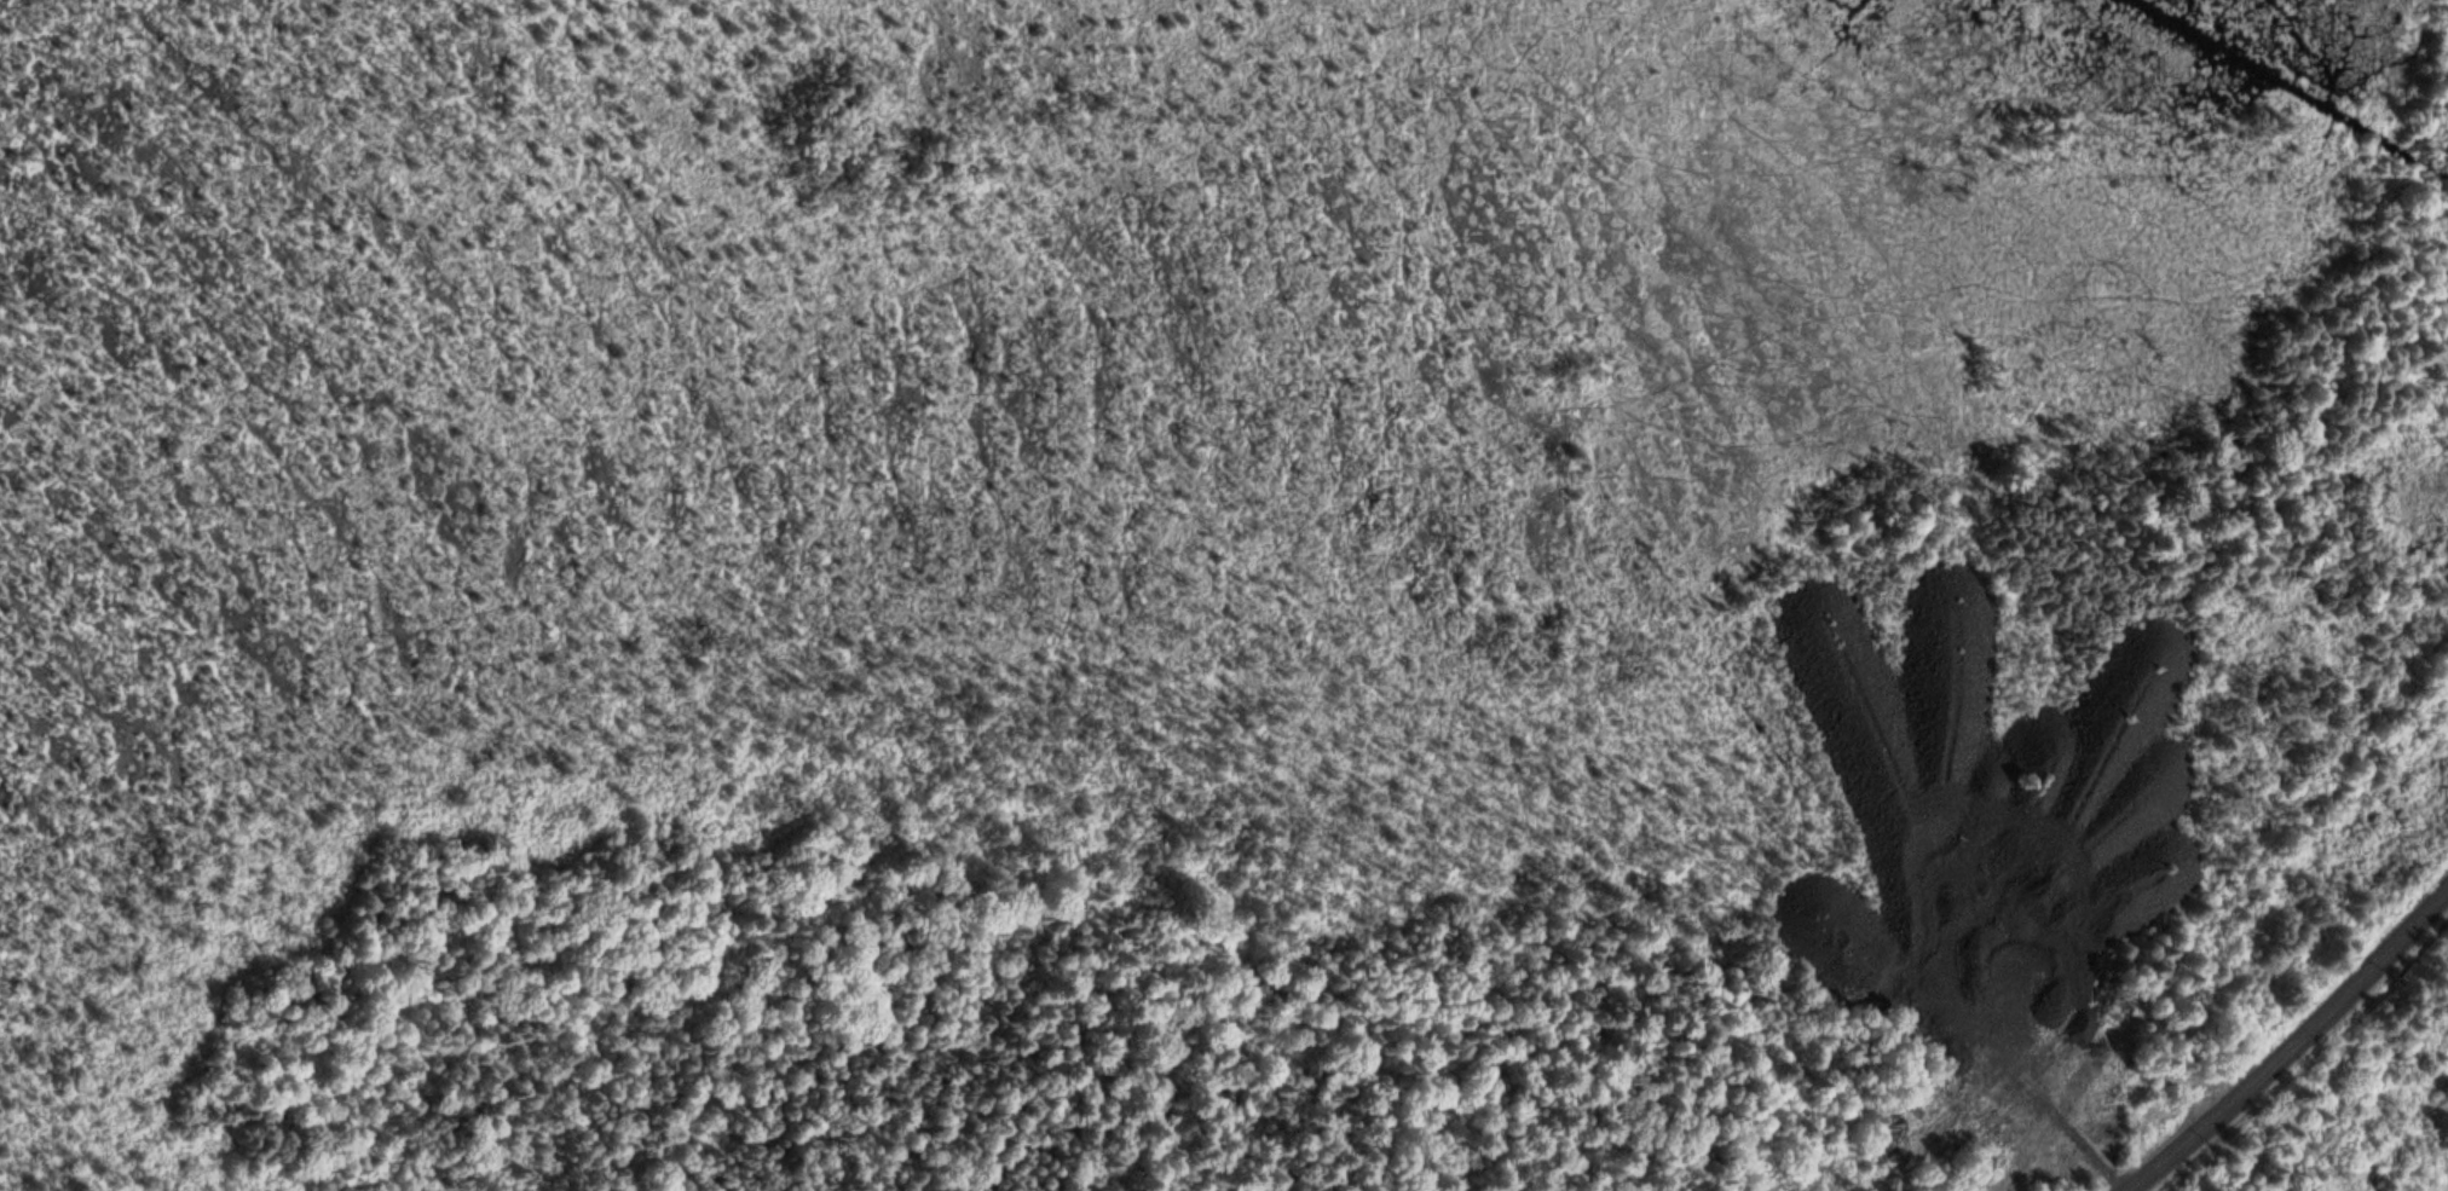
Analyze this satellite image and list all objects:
road: (2293, 1050)

